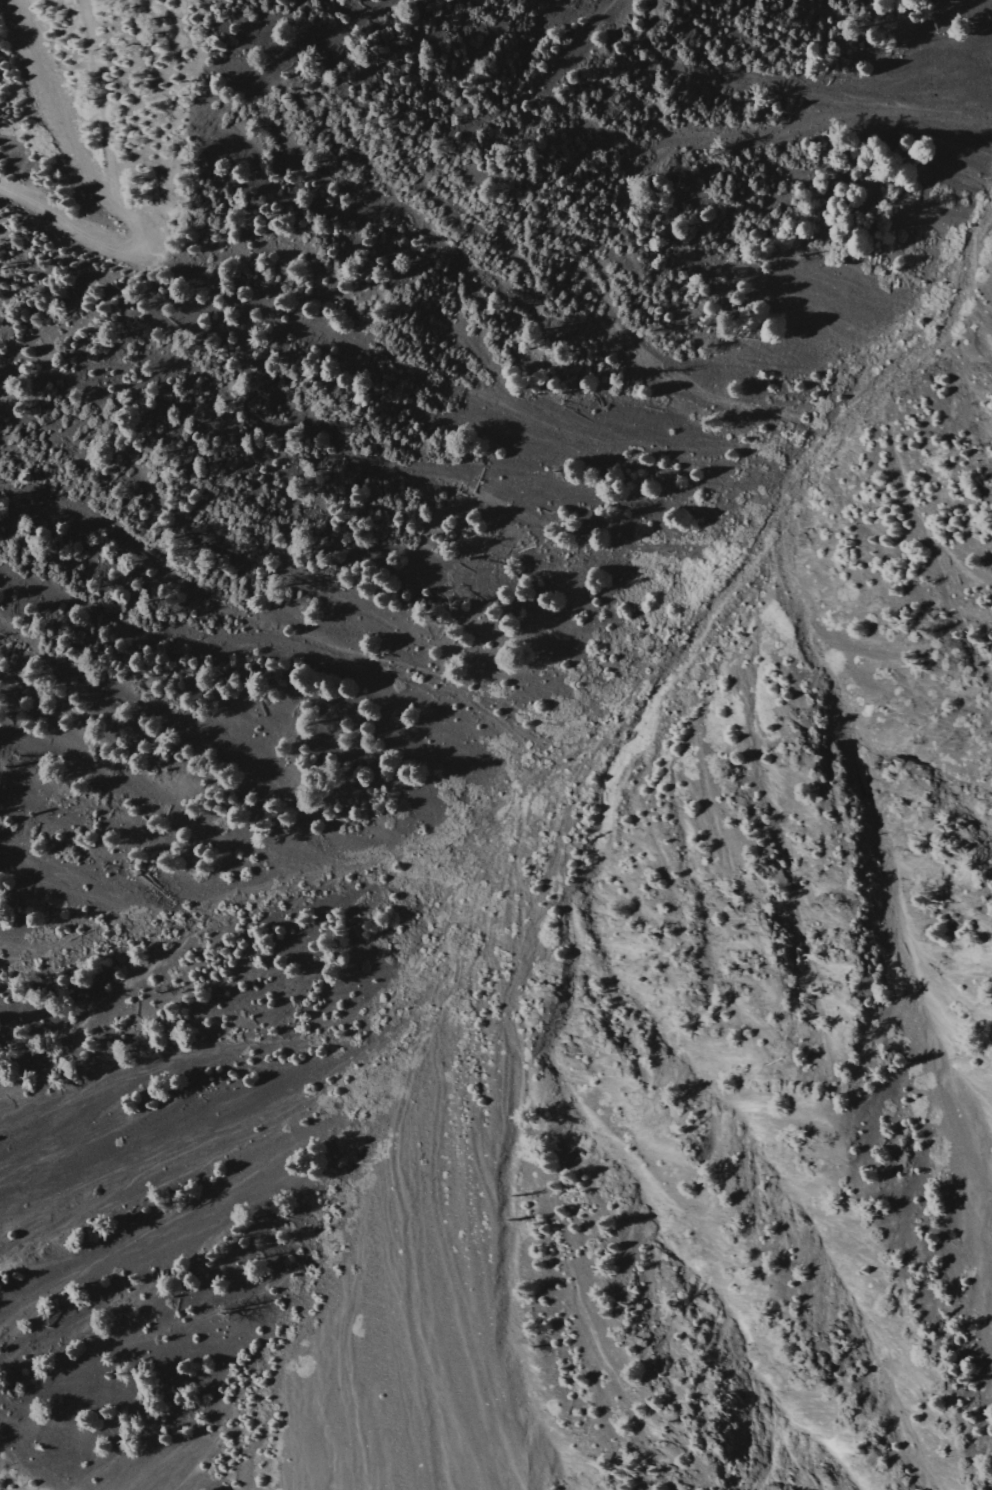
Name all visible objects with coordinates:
road: (103, 106)
ski resort: (76, 141)
road: (88, 234)
road: (36, 1488)

